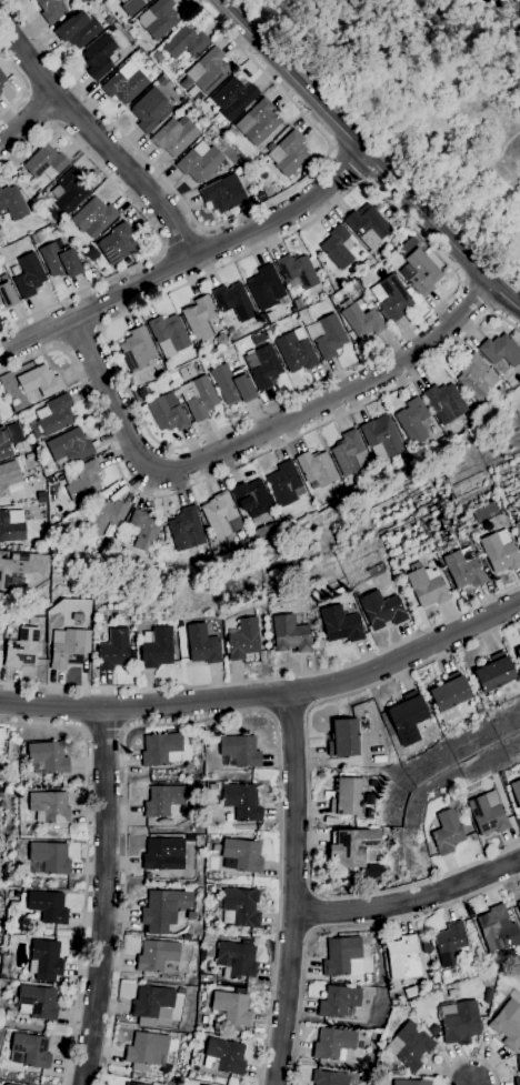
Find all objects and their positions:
building: (82, 1)
building: (102, 1)
building: (133, 3)
river: (477, 3)
building: (51, 10)
building: (158, 19)
building: (77, 29)
building: (186, 42)
building: (157, 56)
building: (100, 57)
building: (208, 71)
building: (1, 80)
building: (161, 81)
building: (124, 83)
road: (22, 87)
road: (27, 92)
building: (233, 98)
park: (430, 98)
road: (41, 107)
building: (151, 111)
road: (29, 118)
building: (258, 122)
road: (54, 124)
building: (174, 135)
road: (99, 139)
building: (288, 153)
road: (367, 155)
building: (199, 162)
building: (44, 163)
road: (346, 164)
building: (71, 191)
building: (223, 194)
building: (13, 203)
building: (93, 215)
road: (228, 220)
road: (151, 223)
building: (367, 223)
road: (200, 230)
building: (411, 234)
building: (36, 238)
road: (181, 241)
building: (1, 242)
building: (117, 244)
building: (338, 247)
road: (161, 250)
building: (59, 260)
road: (188, 262)
building: (364, 264)
building: (298, 271)
building: (419, 272)
building: (28, 275)
building: (3, 278)
building: (266, 288)
building: (7, 295)
building: (392, 298)
road: (476, 298)
building: (233, 301)
building: (298, 303)
building: (293, 311)
building: (199, 319)
building: (362, 320)
road: (100, 328)
building: (270, 330)
building: (169, 334)
road: (80, 336)
building: (329, 336)
building: (514, 336)
building: (259, 339)
road: (63, 348)
building: (137, 350)
building: (296, 350)
building: (500, 351)
building: (262, 366)
building: (477, 378)
building: (40, 381)
building: (232, 384)
building: (142, 393)
building: (199, 398)
building: (444, 402)
building: (474, 412)
building: (167, 413)
building: (54, 415)
building: (412, 420)
road: (256, 435)
building: (31, 438)
building: (381, 438)
building: (443, 441)
road: (190, 443)
building: (4, 449)
building: (69, 449)
building: (347, 452)
building: (406, 453)
road: (233, 465)
building: (317, 470)
building: (8, 476)
building: (82, 480)
building: (286, 484)
building: (343, 492)
building: (252, 498)
building: (106, 515)
building: (221, 515)
building: (289, 520)
building: (517, 520)
building: (11, 525)
building: (517, 528)
building: (187, 530)
building: (474, 530)
building: (144, 531)
building: (260, 532)
building: (159, 544)
building: (13, 547)
building: (20, 547)
building: (170, 550)
building: (500, 551)
building: (162, 559)
building: (464, 569)
building: (11, 572)
building: (423, 585)
building: (459, 595)
building: (381, 610)
building: (77, 616)
building: (0, 620)
building: (340, 624)
building: (290, 634)
building: (242, 640)
building: (202, 644)
building: (156, 647)
building: (22, 649)
building: (70, 649)
building: (113, 651)
building: (518, 653)
building: (494, 673)
road: (268, 677)
road: (268, 693)
building: (449, 696)
road: (312, 704)
building: (478, 706)
road: (292, 709)
road: (272, 715)
building: (408, 717)
road: (208, 719)
road: (103, 726)
road: (82, 729)
road: (124, 729)
building: (1, 735)
building: (343, 739)
building: (161, 749)
building: (240, 751)
building: (47, 759)
building: (211, 785)
building: (516, 792)
road: (307, 793)
building: (1, 795)
building: (347, 796)
building: (162, 801)
building: (242, 802)
building: (49, 807)
building: (514, 812)
building: (487, 814)
building: (446, 832)
building: (352, 846)
building: (216, 847)
building: (163, 854)
building: (241, 855)
building: (50, 857)
road: (86, 866)
road: (294, 888)
building: (210, 890)
road: (103, 897)
road: (410, 900)
building: (518, 905)
building: (47, 906)
building: (239, 907)
building: (163, 908)
building: (191, 916)
road: (341, 927)
building: (496, 928)
building: (0, 933)
building: (187, 937)
building: (450, 944)
building: (157, 955)
building: (341, 955)
building: (403, 957)
building: (236, 960)
building: (44, 961)
building: (449, 973)
building: (181, 991)
building: (411, 992)
building: (488, 995)
building: (338, 1001)
building: (37, 1002)
building: (152, 1005)
building: (231, 1007)
building: (459, 1023)
building: (508, 1025)
building: (434, 1031)
building: (367, 1035)
building: (333, 1044)
building: (409, 1046)
building: (30, 1051)
building: (148, 1051)
building: (223, 1056)
road: (471, 1059)
building: (382, 1066)
building: (518, 1071)
building: (329, 1078)
building: (363, 1078)
building: (410, 1083)
road: (470, 1083)
building: (6, 1084)
building: (131, 1084)

